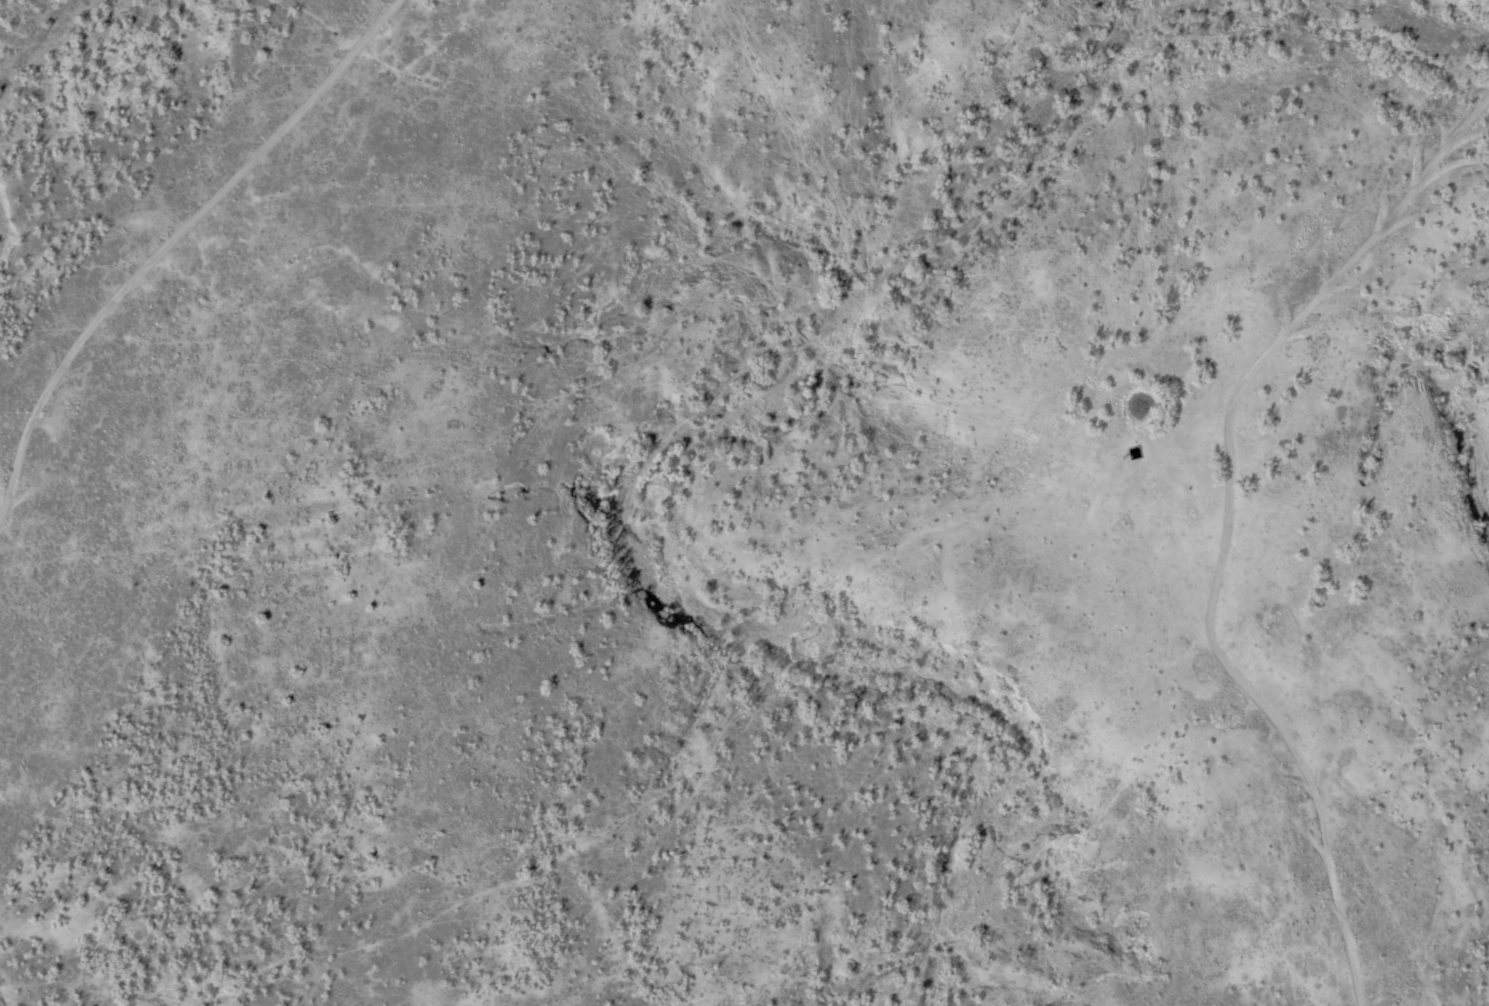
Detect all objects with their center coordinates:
road: (1265, 555)
road: (1333, 841)

